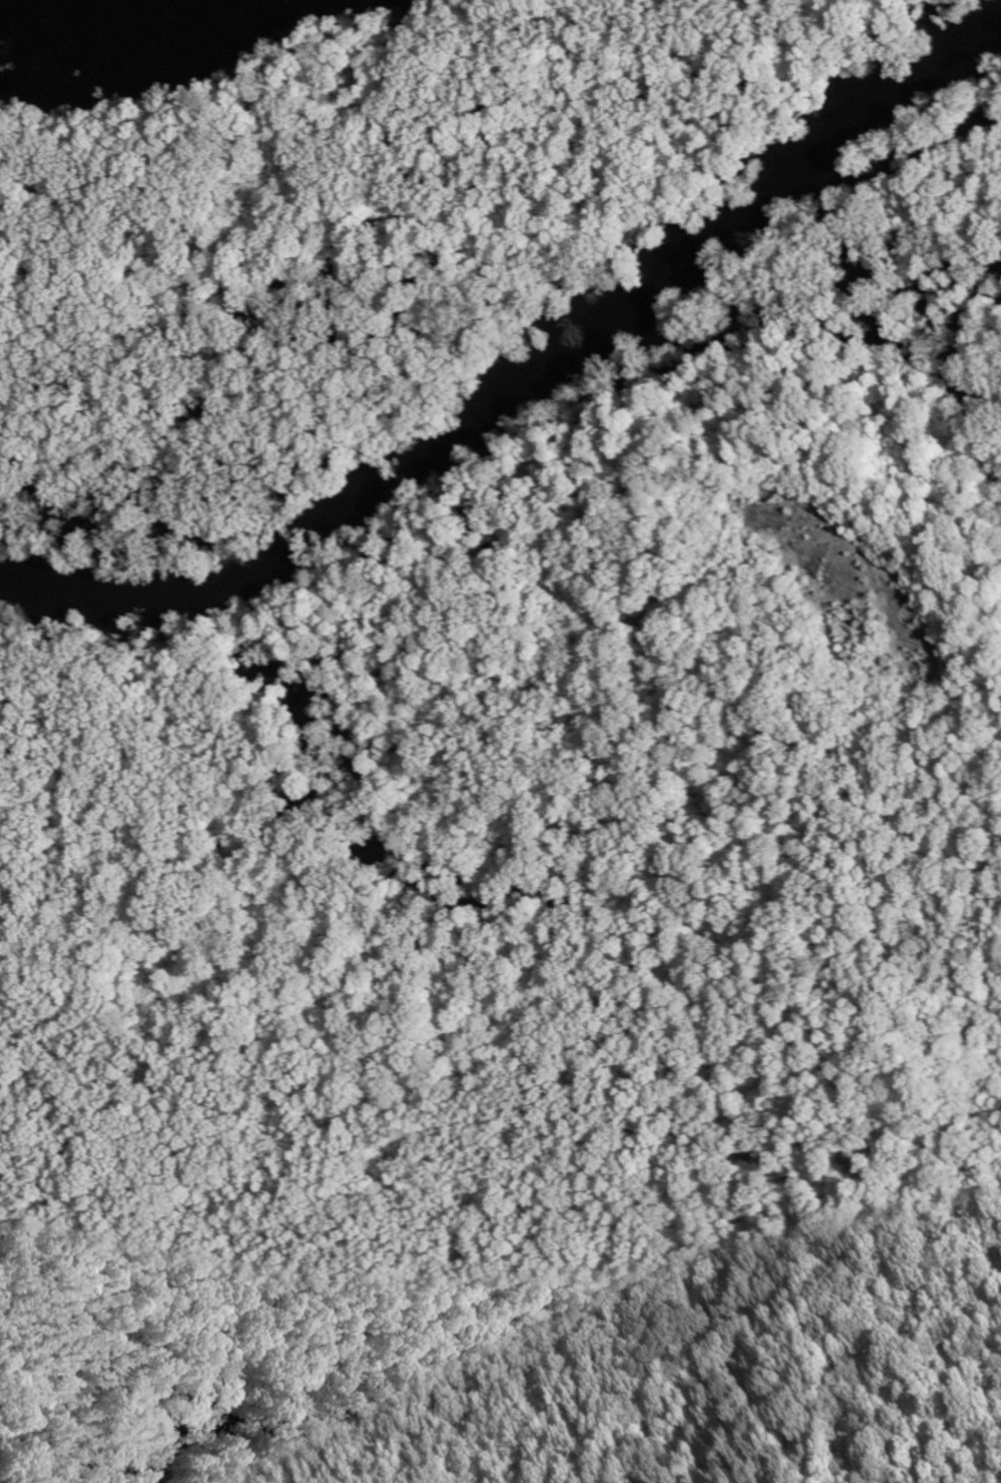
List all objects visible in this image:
river: (525, 374)

